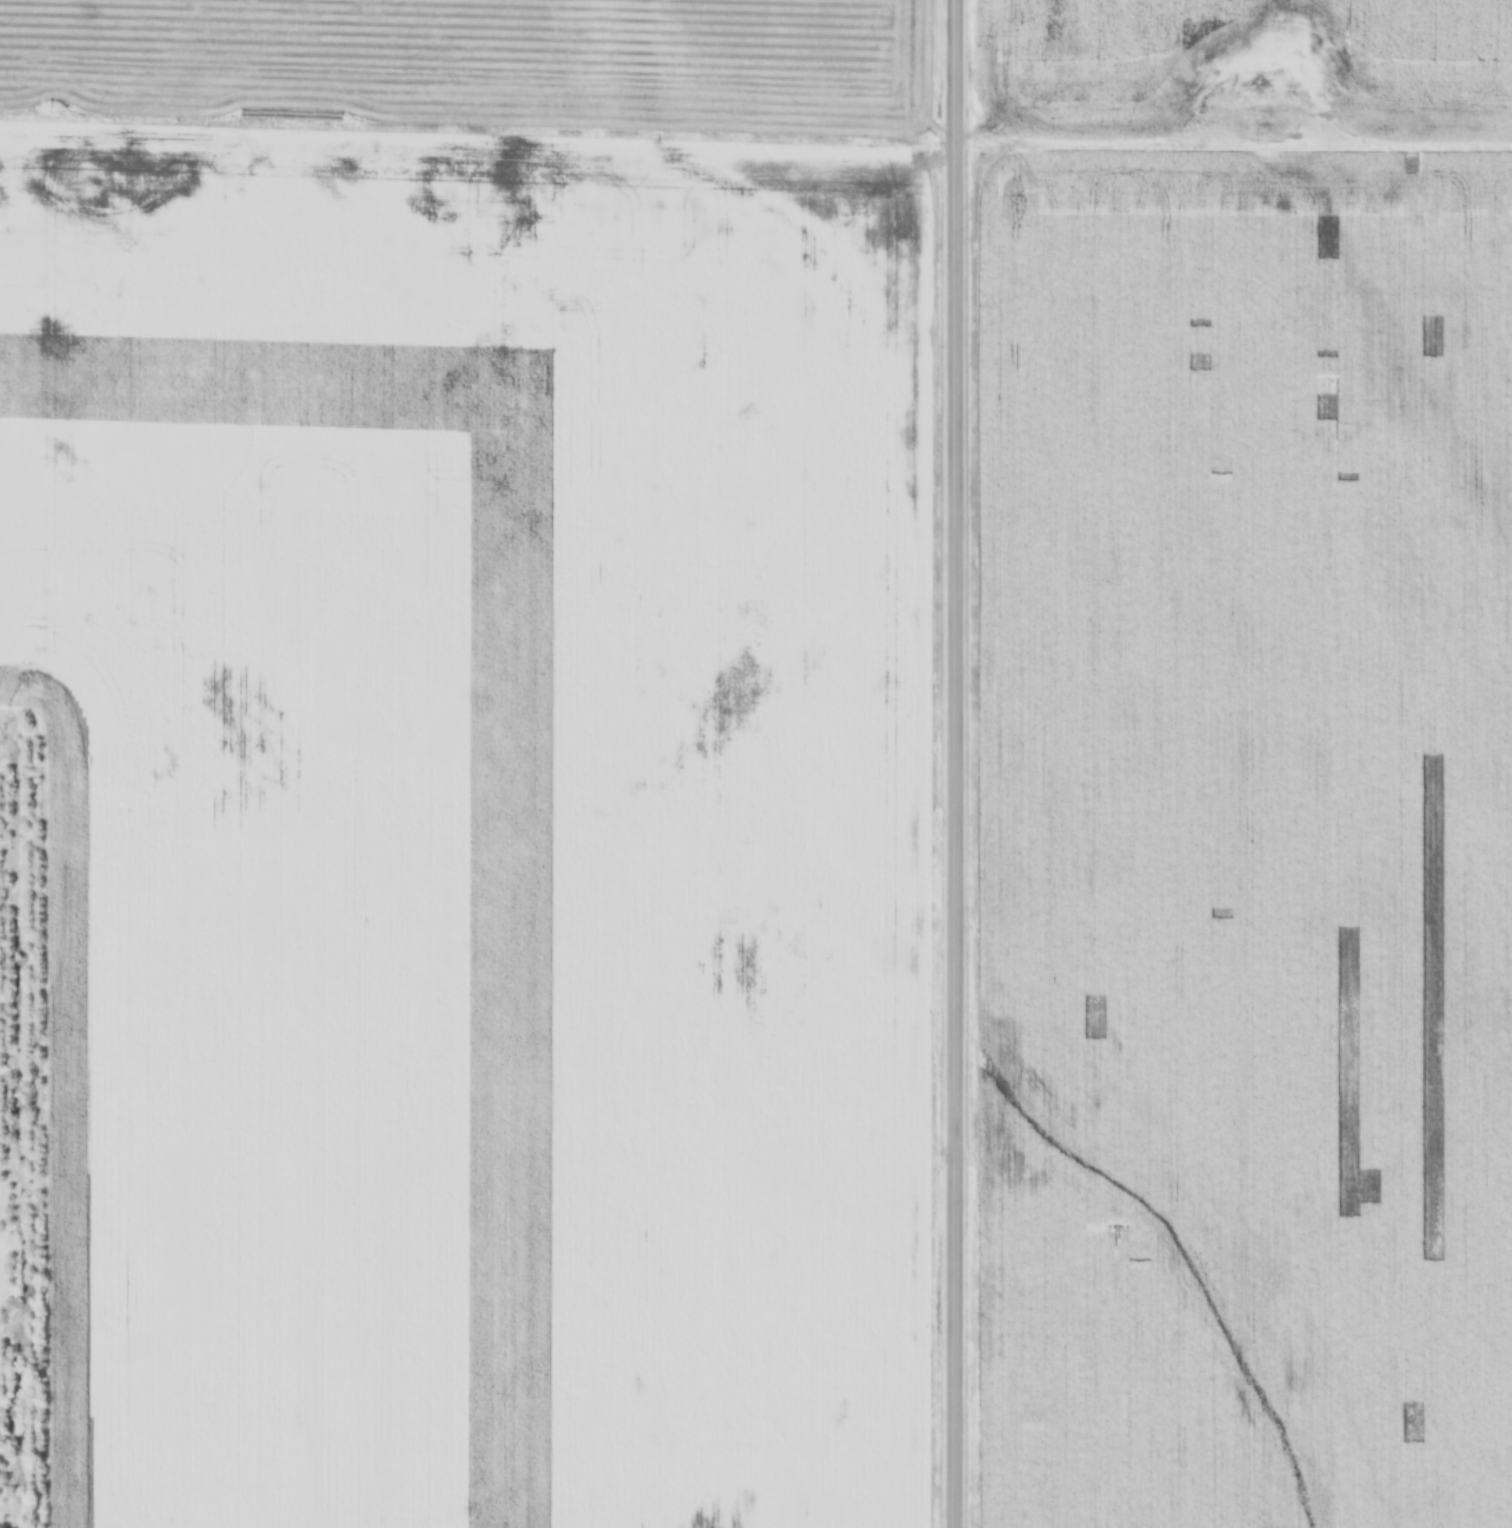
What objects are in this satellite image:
road: (955, 764)

